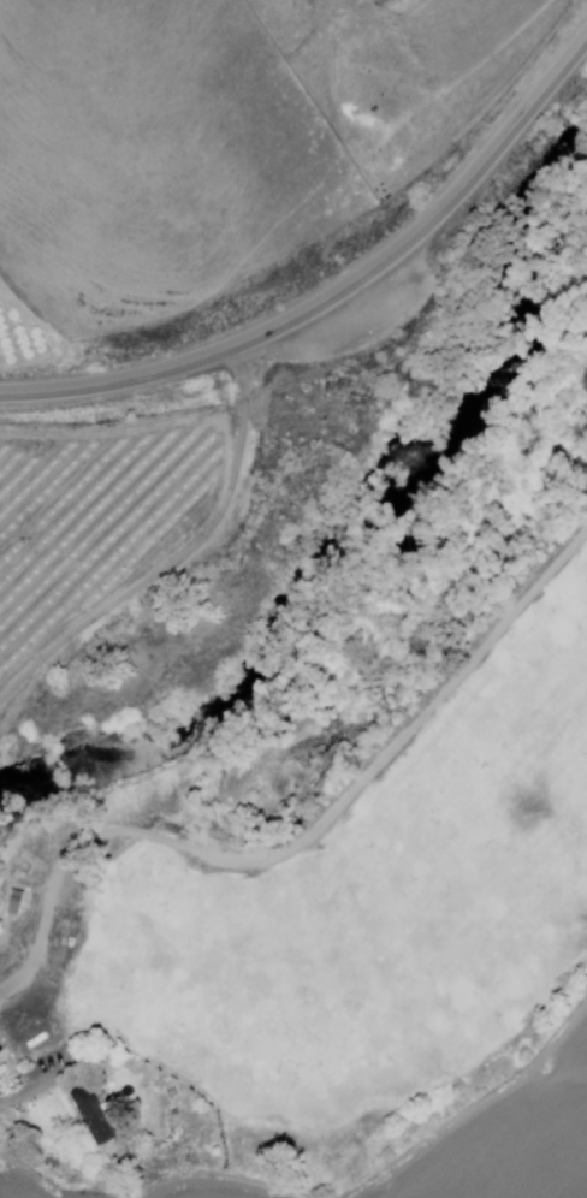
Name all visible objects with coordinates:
road: (337, 293)
crop: (96, 520)
road: (183, 557)
road: (303, 842)
park: (374, 913)
crop: (573, 1056)
building: (97, 1120)
crop: (504, 1152)
crop: (12, 1187)
crop: (207, 1192)

